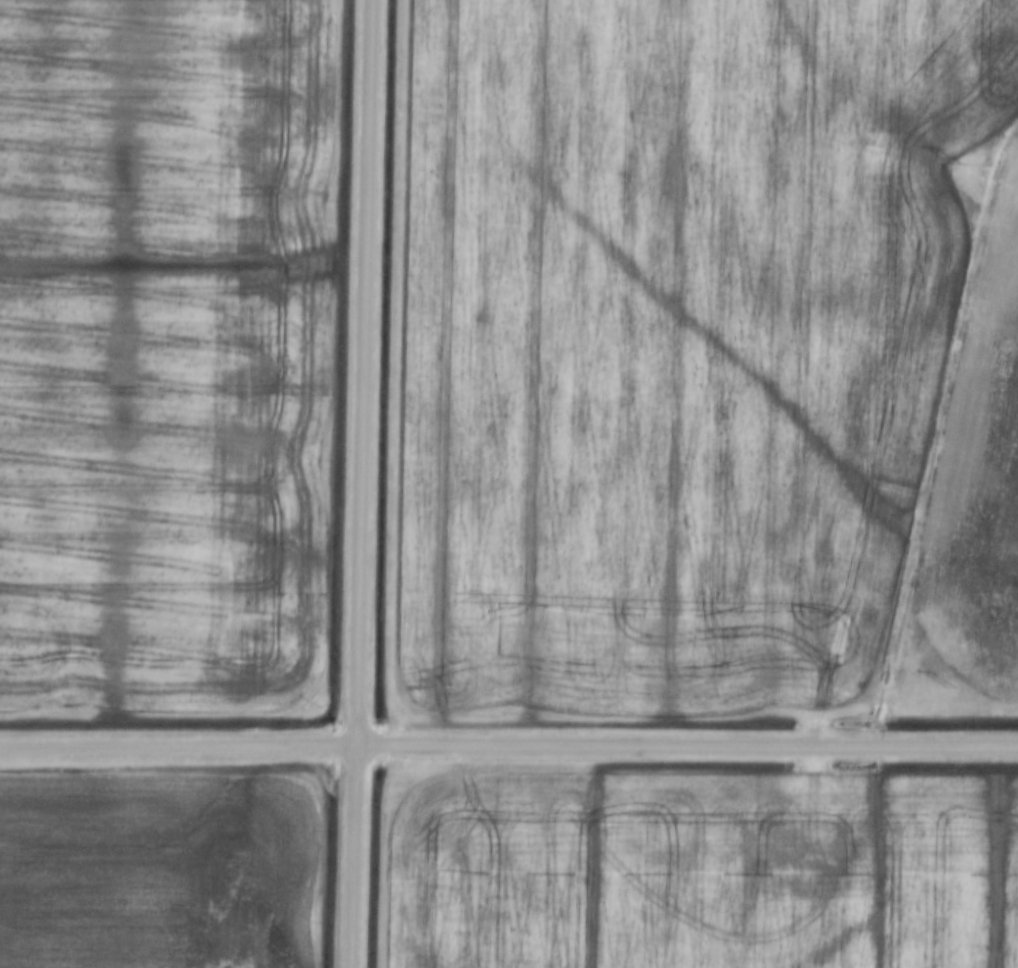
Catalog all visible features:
power tower: (956, 164)
crop: (162, 348)
crop: (708, 358)
road: (356, 484)
power tower: (950, 686)
road: (509, 745)
crop: (159, 870)
crop: (700, 871)

